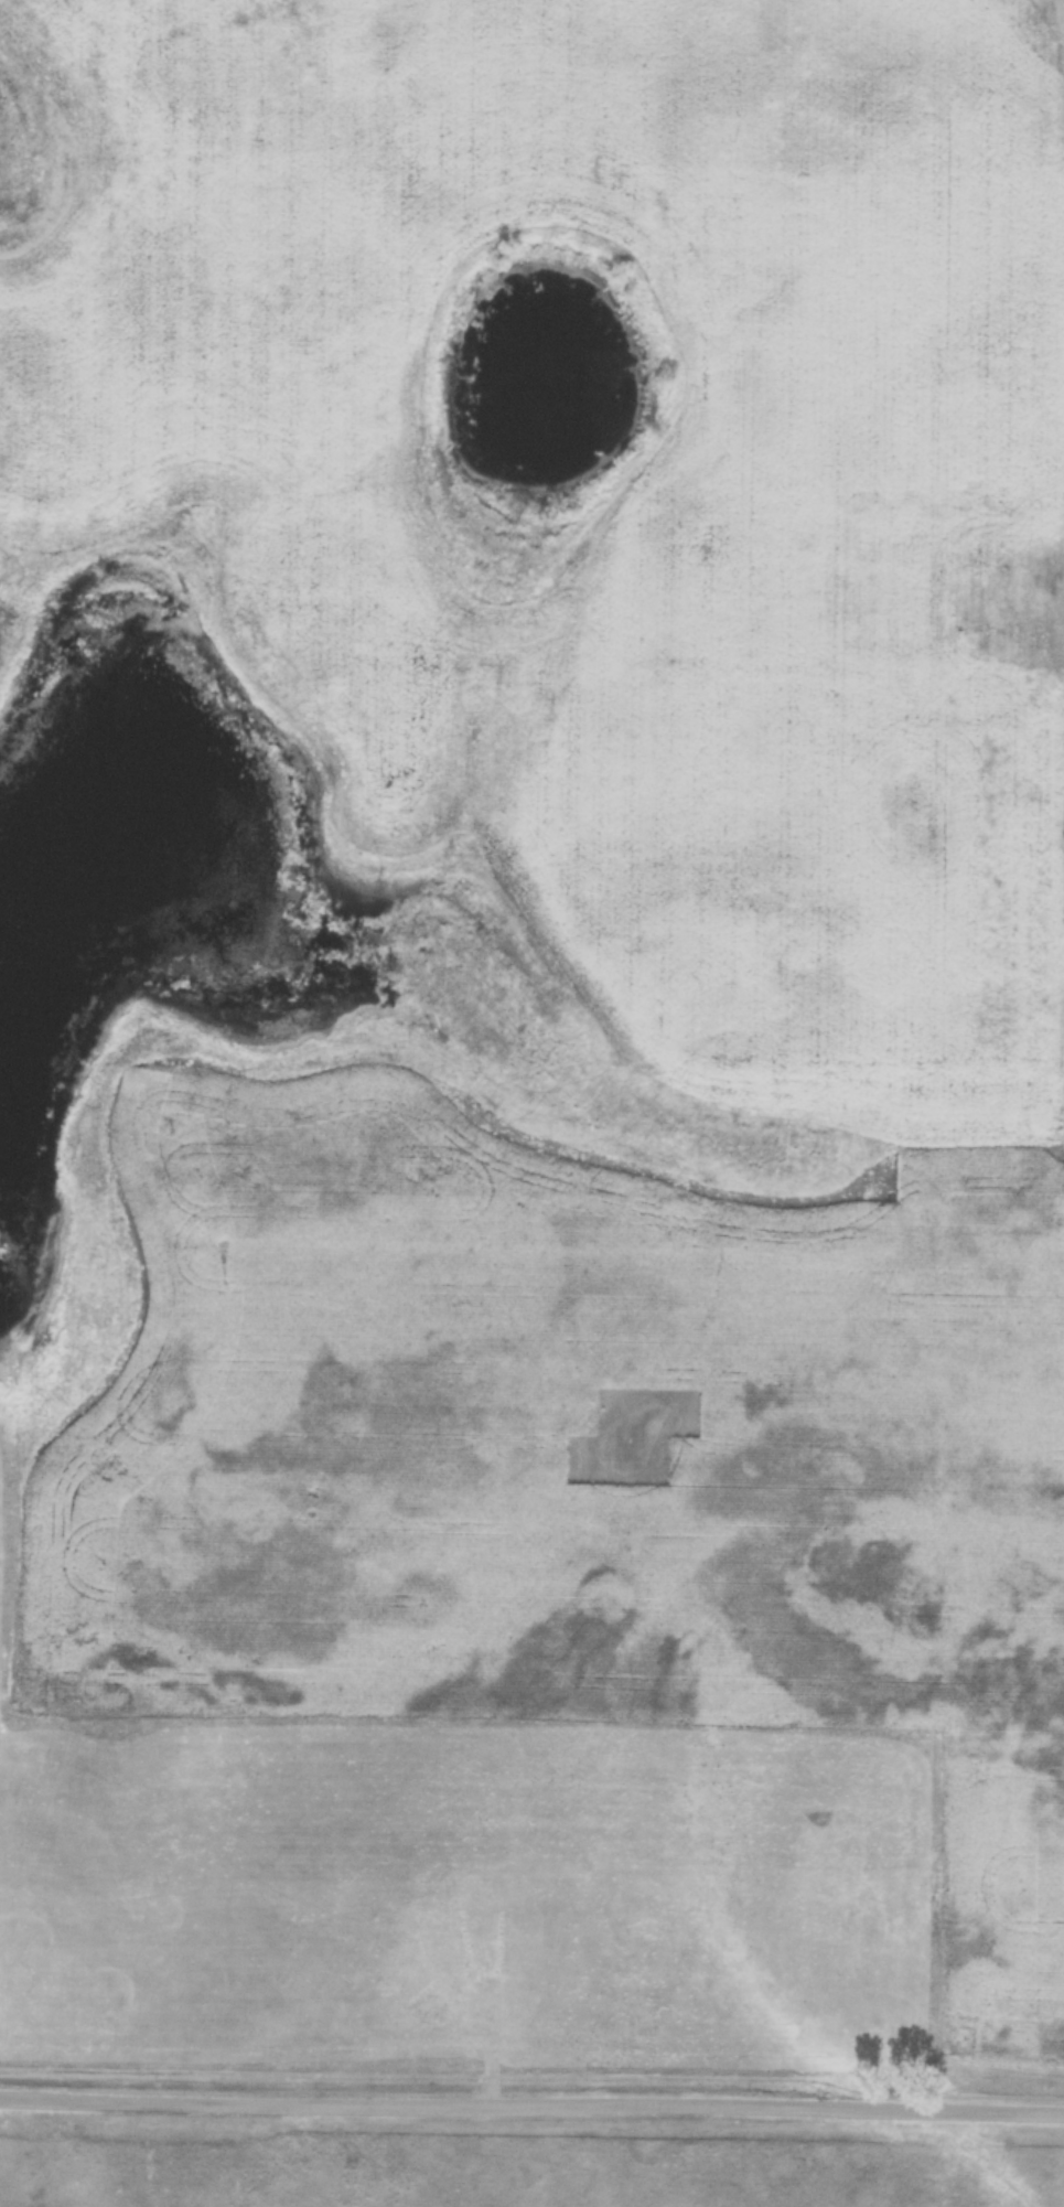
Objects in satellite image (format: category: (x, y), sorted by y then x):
road: (531, 2102)

